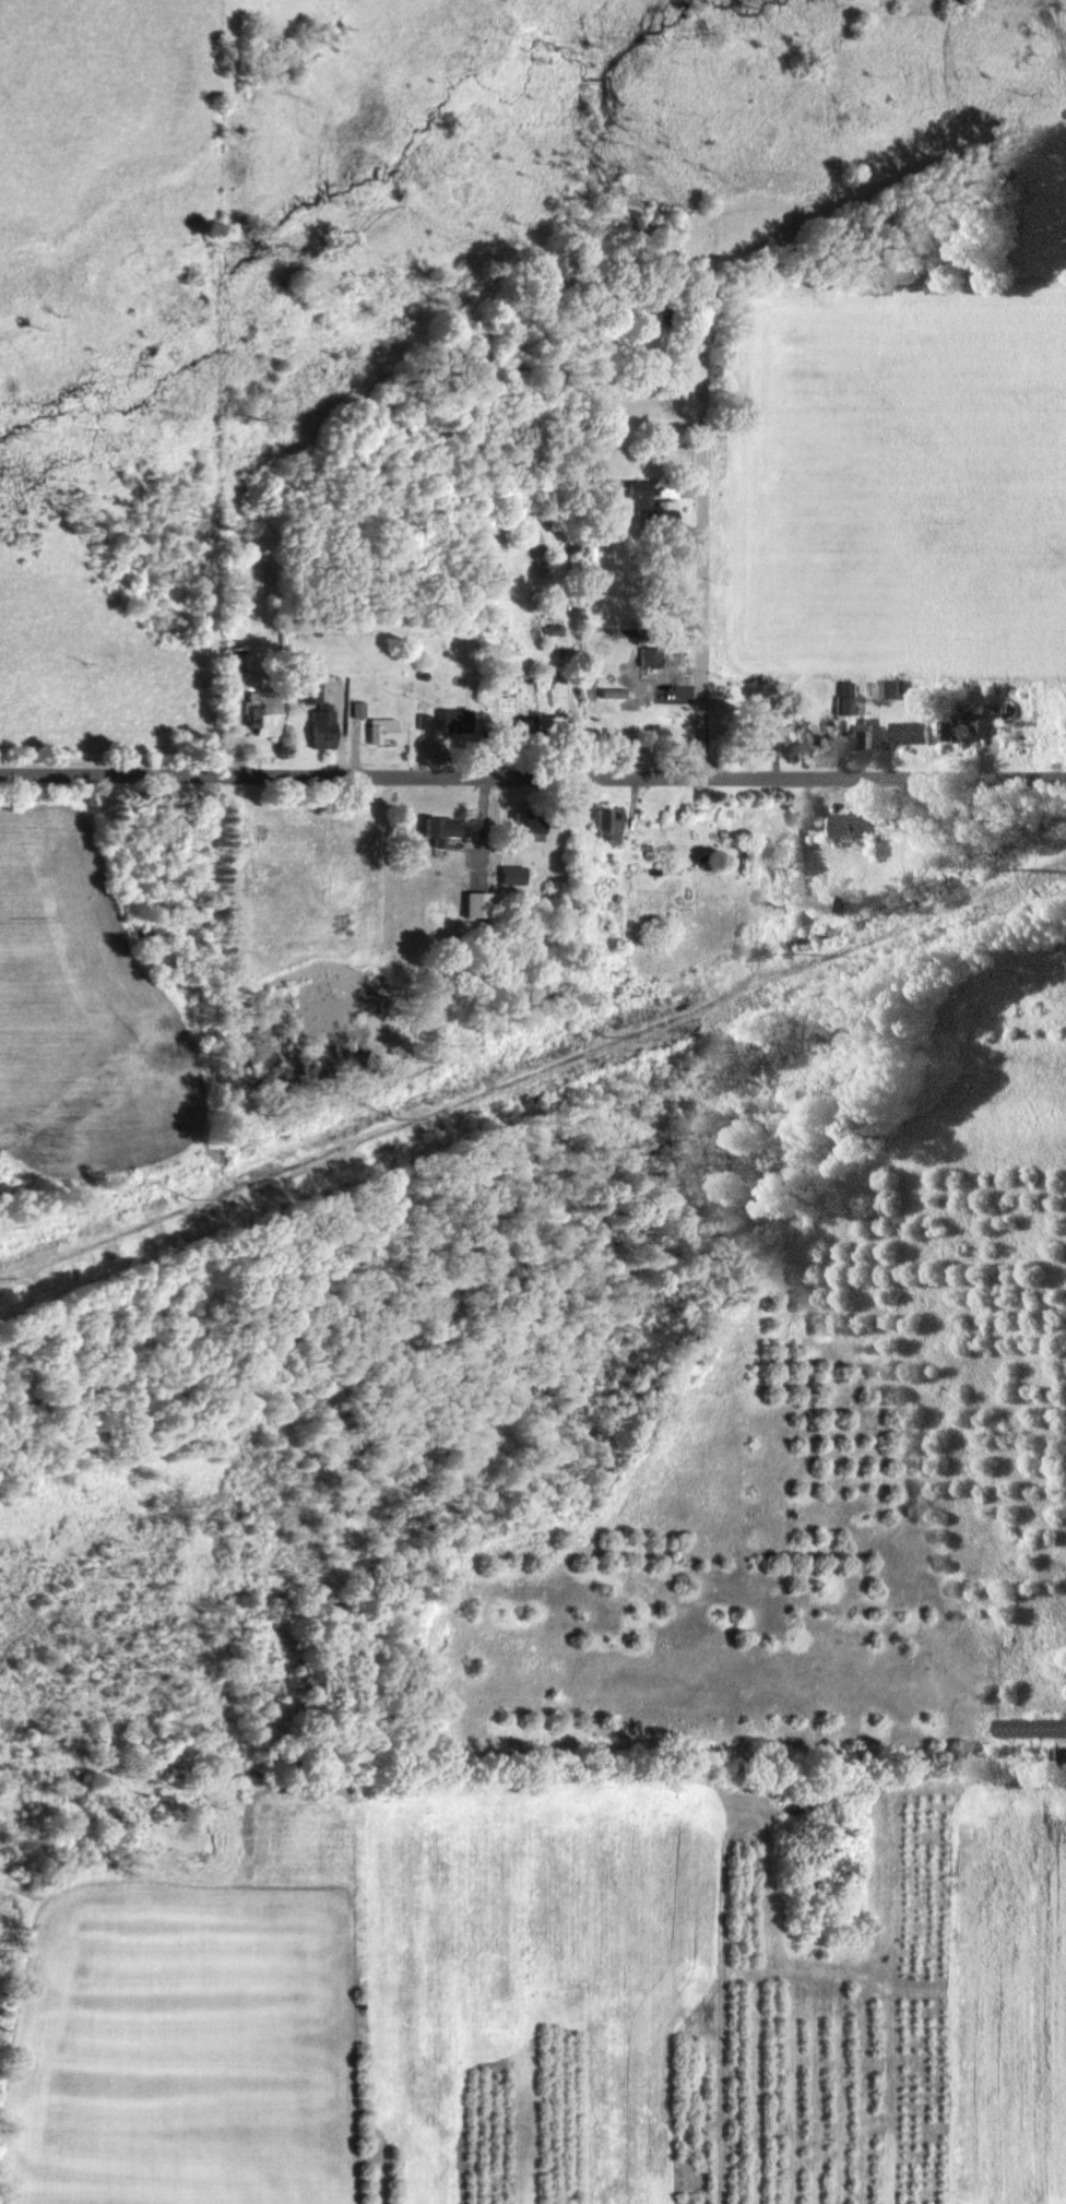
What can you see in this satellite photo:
building: (648, 313)
building: (654, 513)
road: (699, 542)
building: (644, 657)
building: (842, 688)
building: (886, 689)
building: (305, 691)
building: (257, 713)
building: (438, 721)
building: (317, 728)
building: (964, 728)
building: (377, 730)
building: (517, 731)
building: (553, 731)
building: (907, 733)
building: (754, 734)
building: (855, 735)
road: (532, 779)
building: (852, 823)
building: (601, 825)
building: (434, 828)
building: (759, 854)
building: (506, 875)
building: (1029, 1729)
building: (1058, 1758)

